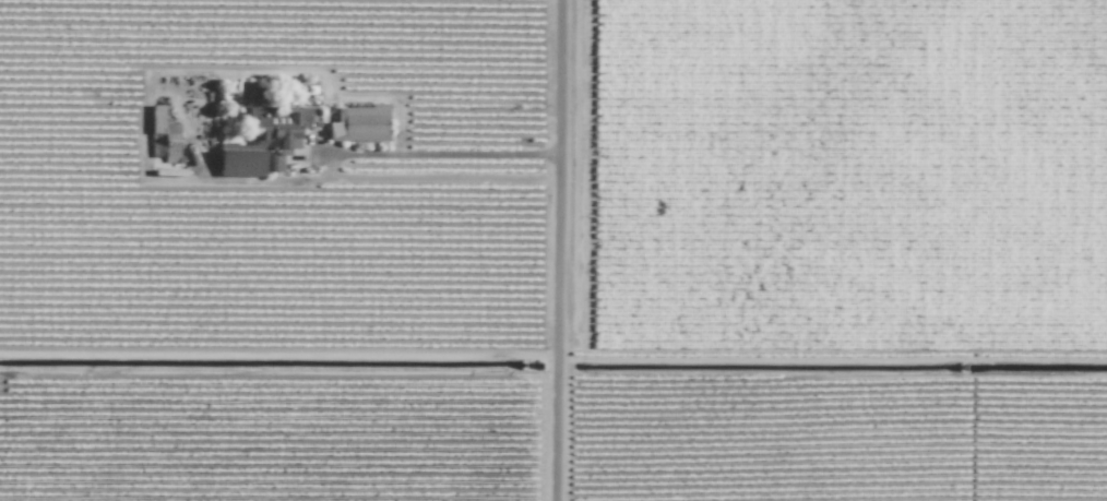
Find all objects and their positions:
building: (359, 123)
building: (163, 135)
building: (265, 143)
road: (440, 155)
road: (559, 250)

